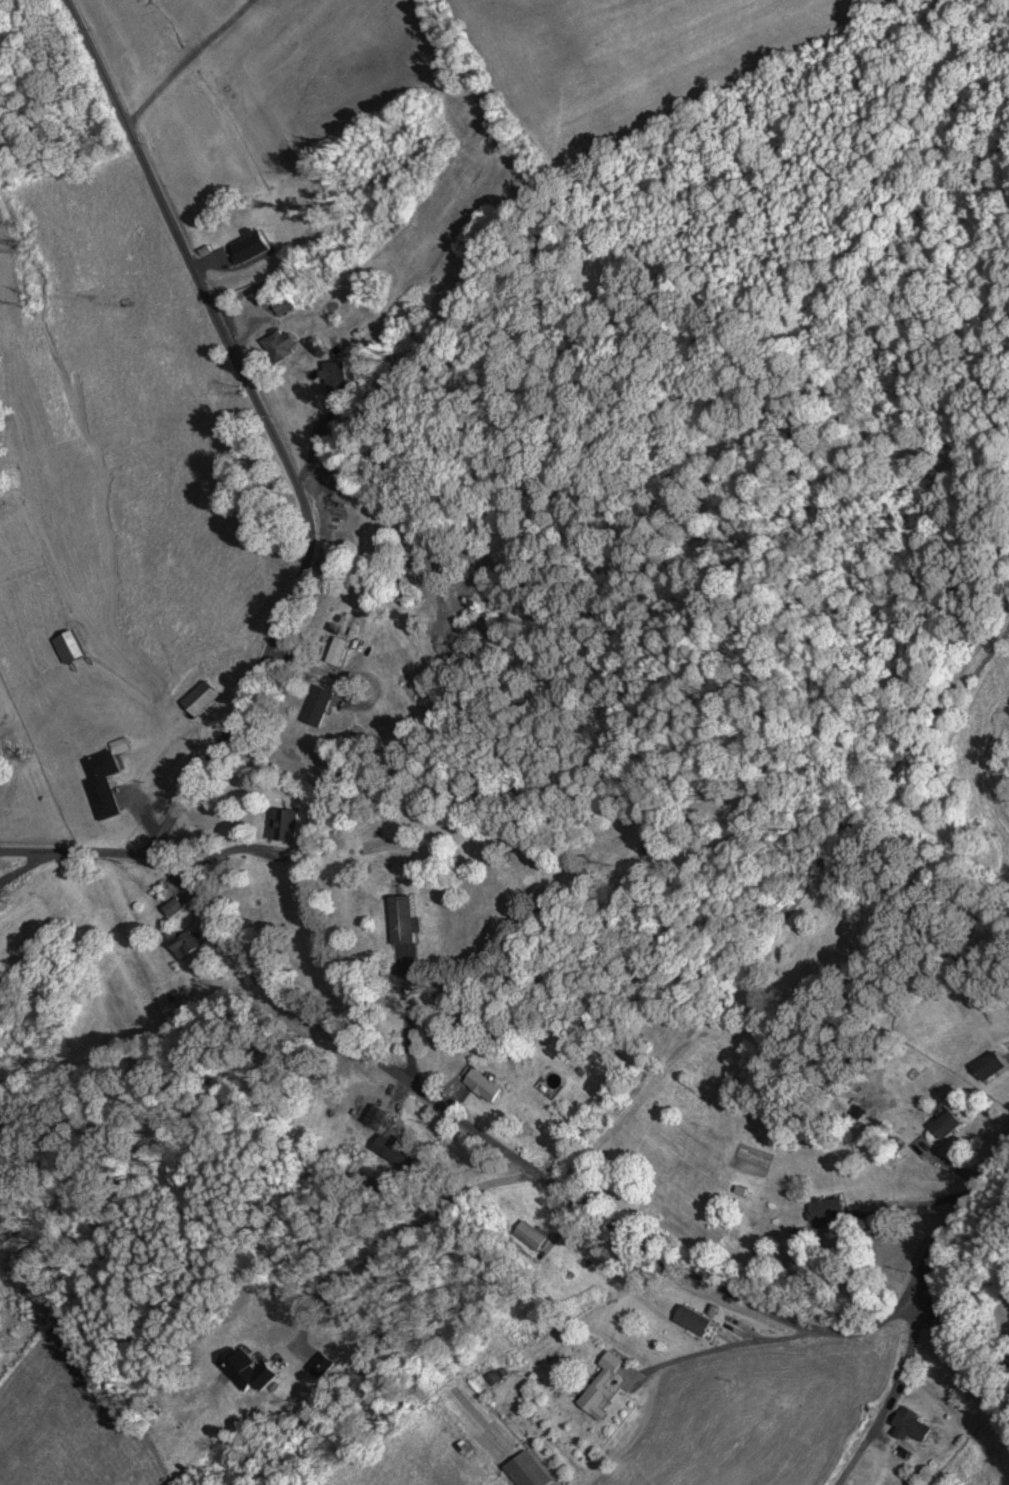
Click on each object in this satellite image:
building: (280, 347)
road: (276, 432)
building: (67, 648)
building: (336, 653)
building: (199, 700)
building: (315, 706)
building: (103, 780)
building: (287, 828)
building: (172, 910)
building: (398, 922)
building: (186, 947)
building: (989, 1067)
building: (481, 1087)
road: (441, 1103)
building: (944, 1126)
building: (389, 1151)
road: (955, 1229)
building: (528, 1236)
building: (690, 1321)
road: (965, 1360)
building: (597, 1385)
road: (886, 1411)
building: (909, 1426)

